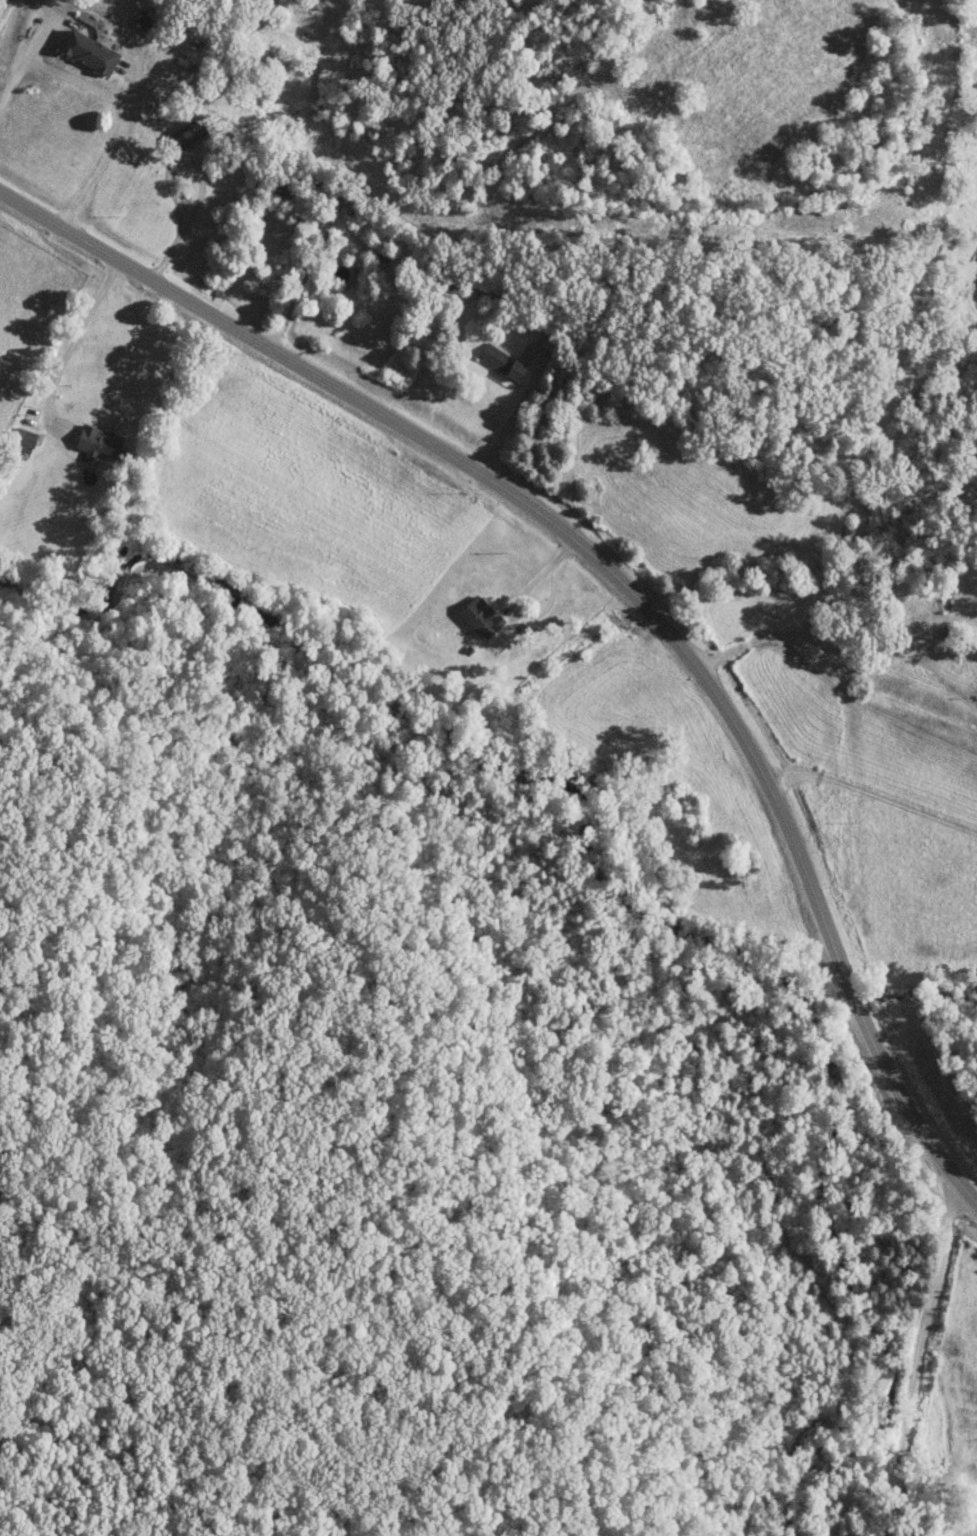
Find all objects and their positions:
building: (91, 52)
road: (119, 98)
building: (183, 136)
road: (301, 275)
road: (70, 342)
building: (495, 361)
building: (100, 444)
road: (616, 576)
road: (962, 608)
building: (474, 617)
road: (835, 657)
road: (866, 705)
road: (950, 1201)
road: (911, 1380)

